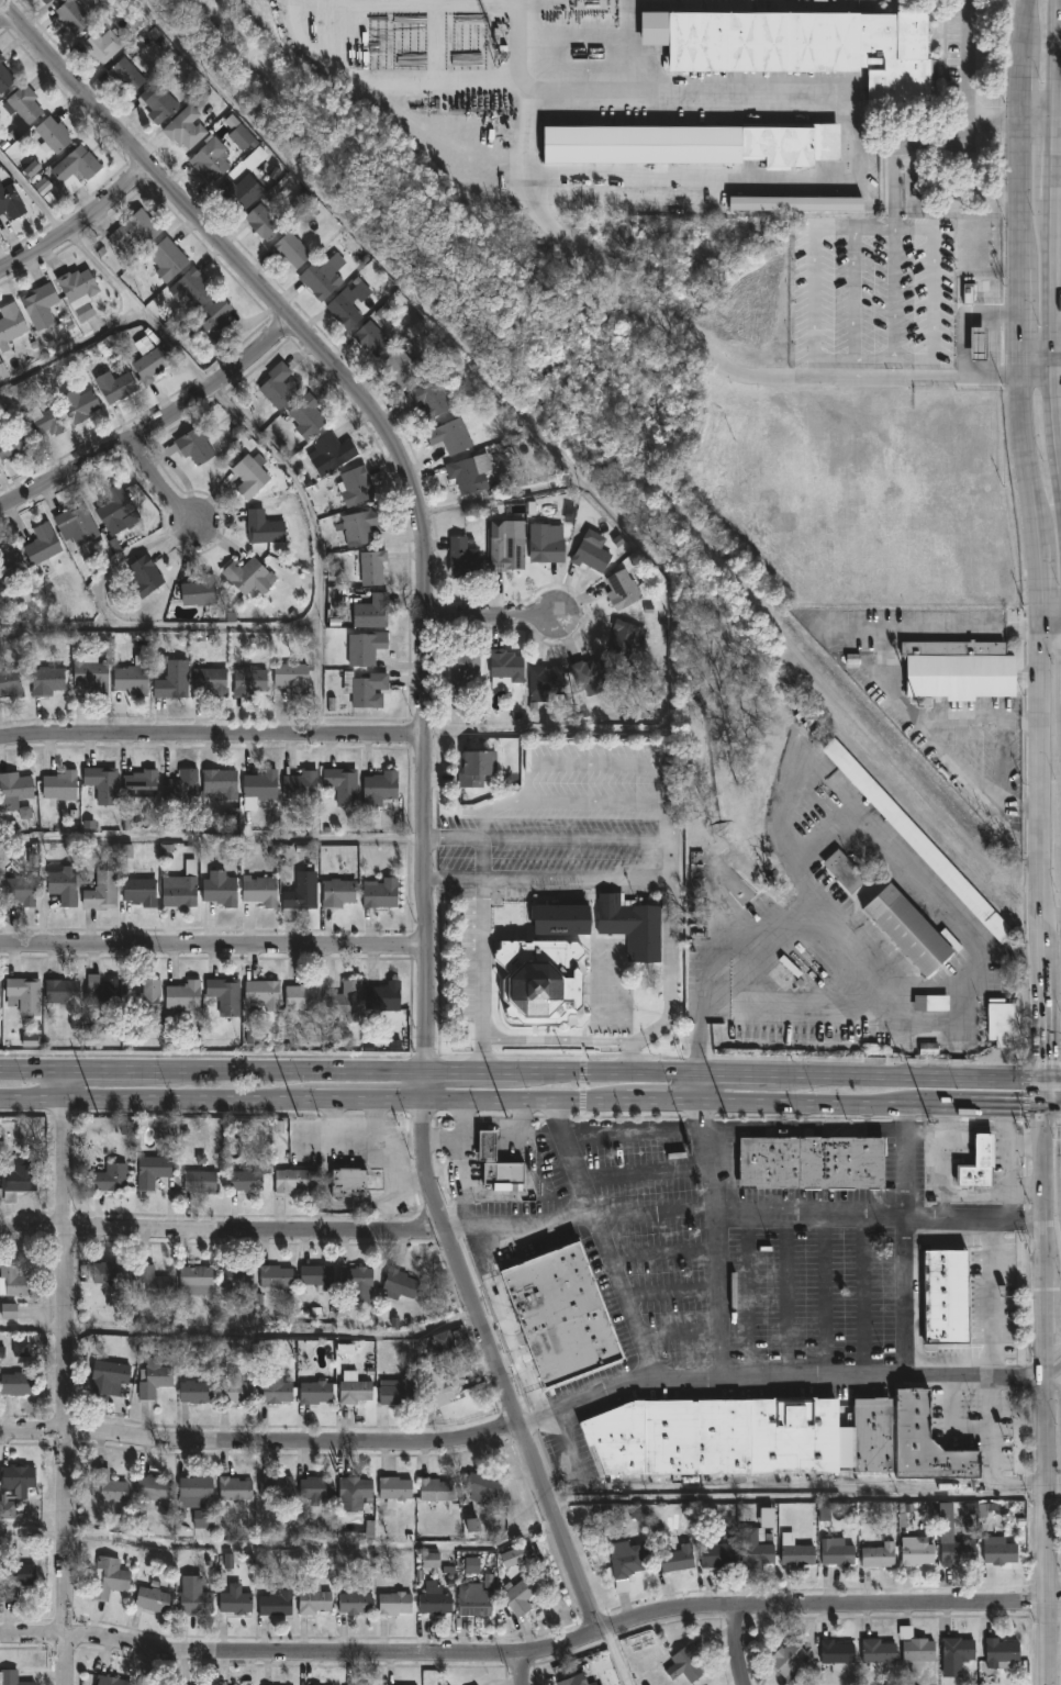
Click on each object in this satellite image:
building: (46, 1)
road: (3, 11)
building: (71, 15)
road: (518, 15)
building: (101, 45)
building: (809, 46)
building: (125, 75)
building: (4, 76)
road: (969, 83)
building: (157, 101)
building: (22, 102)
road: (1040, 119)
building: (183, 126)
building: (49, 133)
building: (241, 136)
building: (790, 144)
building: (209, 157)
building: (75, 167)
building: (238, 192)
road: (1058, 198)
building: (10, 201)
road: (78, 221)
building: (261, 221)
building: (134, 230)
building: (291, 248)
building: (167, 258)
road: (594, 261)
building: (322, 277)
building: (190, 287)
building: (77, 291)
building: (348, 303)
building: (38, 305)
building: (216, 320)
building: (10, 323)
building: (371, 338)
building: (978, 342)
road: (74, 353)
building: (148, 358)
road: (938, 360)
building: (402, 367)
road: (1040, 370)
building: (2, 371)
building: (114, 386)
building: (276, 387)
building: (428, 399)
building: (78, 404)
road: (238, 412)
building: (306, 414)
building: (43, 421)
road: (154, 425)
road: (546, 432)
building: (449, 435)
building: (11, 442)
building: (196, 444)
building: (330, 453)
railway: (619, 458)
building: (249, 475)
building: (466, 475)
road: (163, 480)
building: (355, 486)
building: (114, 510)
building: (76, 524)
building: (264, 526)
building: (358, 526)
road: (1036, 538)
building: (544, 543)
building: (40, 544)
building: (504, 549)
building: (590, 555)
building: (462, 559)
building: (10, 560)
road: (120, 565)
building: (369, 566)
building: (144, 576)
building: (248, 576)
building: (623, 590)
building: (199, 591)
building: (371, 611)
road: (492, 612)
road: (1050, 620)
road: (158, 632)
building: (623, 639)
building: (366, 648)
road: (891, 666)
building: (504, 668)
building: (461, 669)
building: (958, 670)
building: (590, 676)
building: (89, 677)
building: (131, 679)
building: (292, 679)
building: (46, 680)
building: (171, 681)
building: (210, 681)
building: (248, 681)
building: (10, 682)
building: (544, 684)
building: (365, 689)
road: (212, 734)
road: (425, 756)
road: (617, 765)
building: (476, 768)
road: (524, 782)
road: (969, 782)
building: (102, 783)
building: (139, 783)
building: (220, 784)
building: (261, 784)
building: (301, 784)
building: (343, 784)
building: (59, 785)
building: (181, 788)
building: (380, 788)
building: (13, 790)
road: (585, 800)
road: (482, 808)
road: (664, 821)
road: (450, 833)
road: (842, 833)
road: (572, 836)
building: (917, 840)
road: (212, 843)
parking lot: (565, 855)
road: (480, 857)
road: (668, 861)
building: (844, 871)
road: (453, 878)
road: (574, 881)
building: (63, 885)
building: (220, 889)
building: (19, 890)
building: (101, 891)
building: (139, 891)
building: (259, 891)
building: (180, 893)
building: (337, 893)
building: (380, 894)
building: (300, 895)
building: (604, 924)
railway: (1051, 928)
building: (907, 929)
road: (213, 949)
road: (480, 973)
building: (538, 981)
road: (674, 989)
building: (63, 993)
building: (101, 993)
building: (224, 994)
building: (261, 994)
building: (0, 995)
building: (23, 995)
building: (182, 995)
building: (303, 996)
building: (382, 997)
building: (346, 1002)
building: (144, 1003)
building: (930, 1003)
building: (999, 1023)
road: (554, 1040)
road: (1043, 1063)
road: (521, 1067)
traffic signals: (1042, 1078)
road: (1051, 1078)
road: (696, 1085)
road: (1041, 1091)
road: (1027, 1093)
road: (505, 1100)
road: (1026, 1105)
traffic signals: (1041, 1105)
road: (1051, 1105)
road: (1012, 1117)
power tower: (506, 1118)
power tower: (931, 1123)
road: (1043, 1123)
road: (1042, 1126)
road: (970, 1129)
road: (1015, 1139)
road: (358, 1143)
building: (485, 1145)
road: (1030, 1148)
road: (711, 1159)
building: (811, 1162)
building: (979, 1162)
building: (152, 1170)
building: (110, 1175)
building: (16, 1178)
building: (246, 1180)
building: (290, 1180)
building: (200, 1181)
building: (348, 1181)
road: (412, 1182)
road: (1017, 1184)
road: (397, 1186)
road: (744, 1216)
road: (223, 1230)
road: (602, 1240)
road: (906, 1240)
building: (109, 1272)
building: (316, 1275)
building: (196, 1277)
building: (236, 1277)
building: (275, 1277)
building: (15, 1280)
building: (153, 1282)
building: (357, 1282)
building: (399, 1283)
building: (945, 1295)
road: (719, 1297)
road: (1057, 1301)
building: (560, 1313)
road: (241, 1337)
building: (443, 1341)
road: (1054, 1353)
road: (1054, 1373)
road: (66, 1377)
building: (153, 1377)
road: (780, 1377)
building: (110, 1379)
road: (993, 1381)
building: (16, 1383)
building: (439, 1386)
building: (353, 1387)
road: (1054, 1387)
building: (235, 1388)
building: (275, 1390)
building: (196, 1392)
building: (315, 1392)
building: (397, 1393)
road: (1047, 1416)
building: (716, 1436)
road: (261, 1440)
building: (925, 1442)
building: (16, 1475)
building: (276, 1486)
building: (105, 1487)
building: (153, 1487)
building: (393, 1487)
building: (480, 1487)
building: (314, 1488)
building: (193, 1489)
building: (234, 1489)
building: (434, 1492)
building: (353, 1493)
road: (798, 1498)
building: (31, 1509)
building: (7, 1511)
building: (756, 1548)
road: (281, 1551)
building: (794, 1551)
building: (957, 1551)
building: (837, 1552)
building: (916, 1552)
building: (1001, 1552)
building: (717, 1555)
building: (879, 1555)
building: (514, 1558)
building: (678, 1558)
building: (625, 1559)
building: (15, 1576)
building: (109, 1577)
building: (518, 1594)
building: (152, 1598)
building: (194, 1600)
building: (235, 1600)
building: (313, 1600)
building: (434, 1600)
building: (473, 1600)
building: (275, 1602)
building: (354, 1602)
building: (393, 1603)
road: (1053, 1609)
road: (739, 1648)
building: (959, 1649)
building: (915, 1650)
building: (837, 1652)
building: (878, 1652)
building: (1002, 1653)
road: (1054, 1655)
road: (525, 1658)
road: (618, 1658)
building: (788, 1659)
building: (685, 1664)
road: (524, 1672)
building: (11, 1678)
building: (111, 1680)
building: (569, 1682)
building: (146, 1683)

